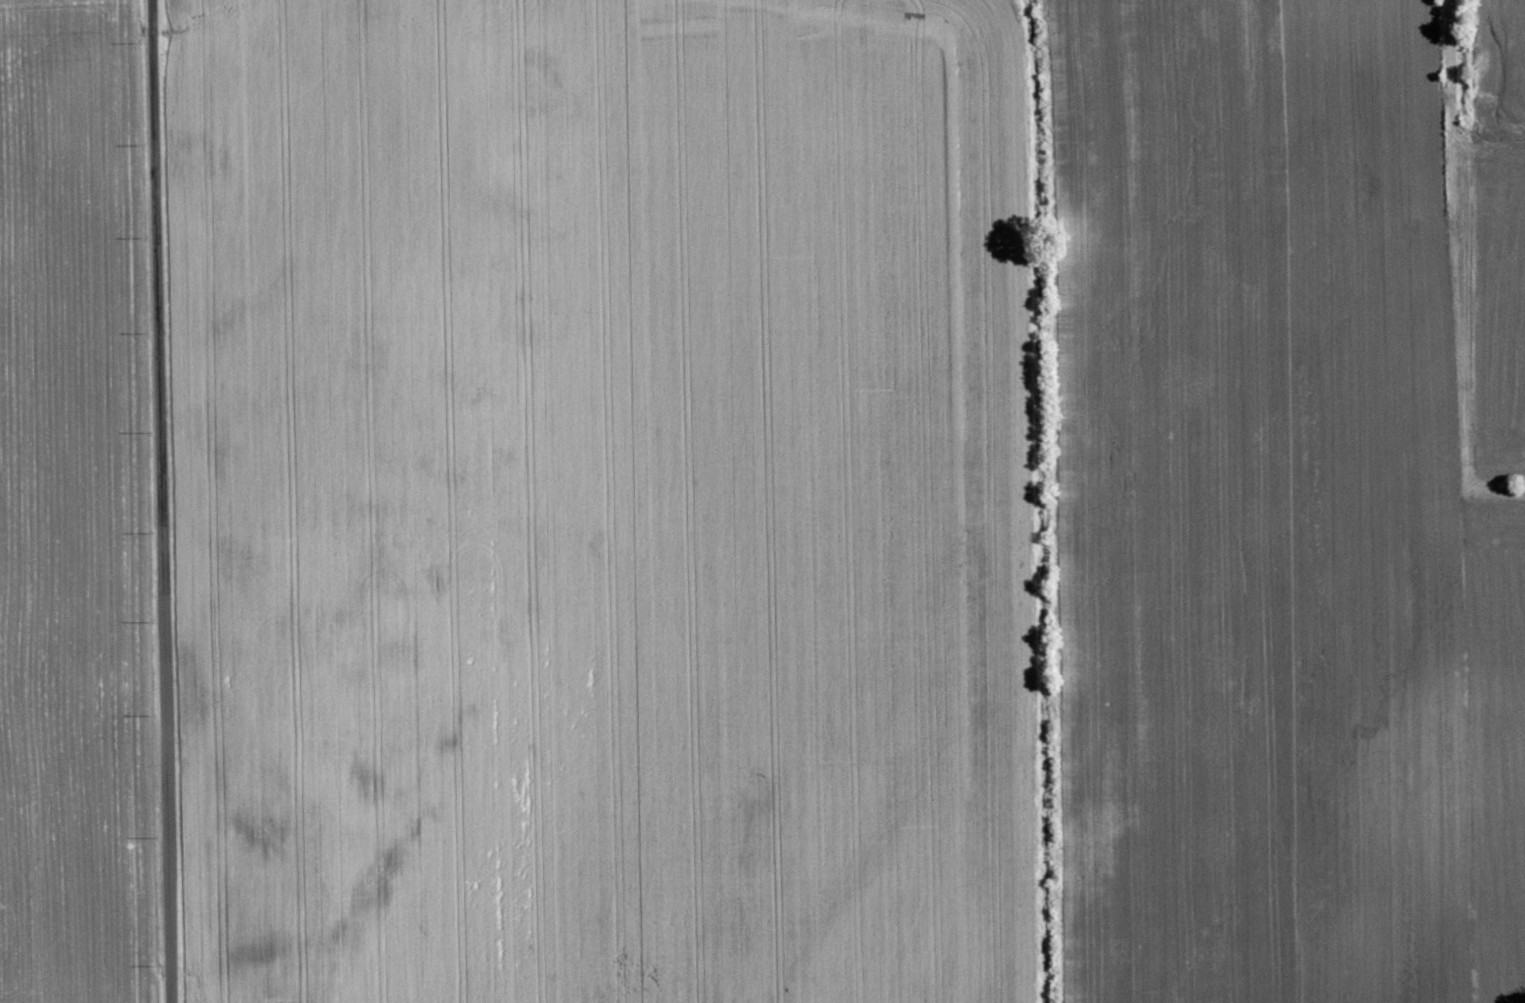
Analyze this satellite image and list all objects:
road: (166, 501)

